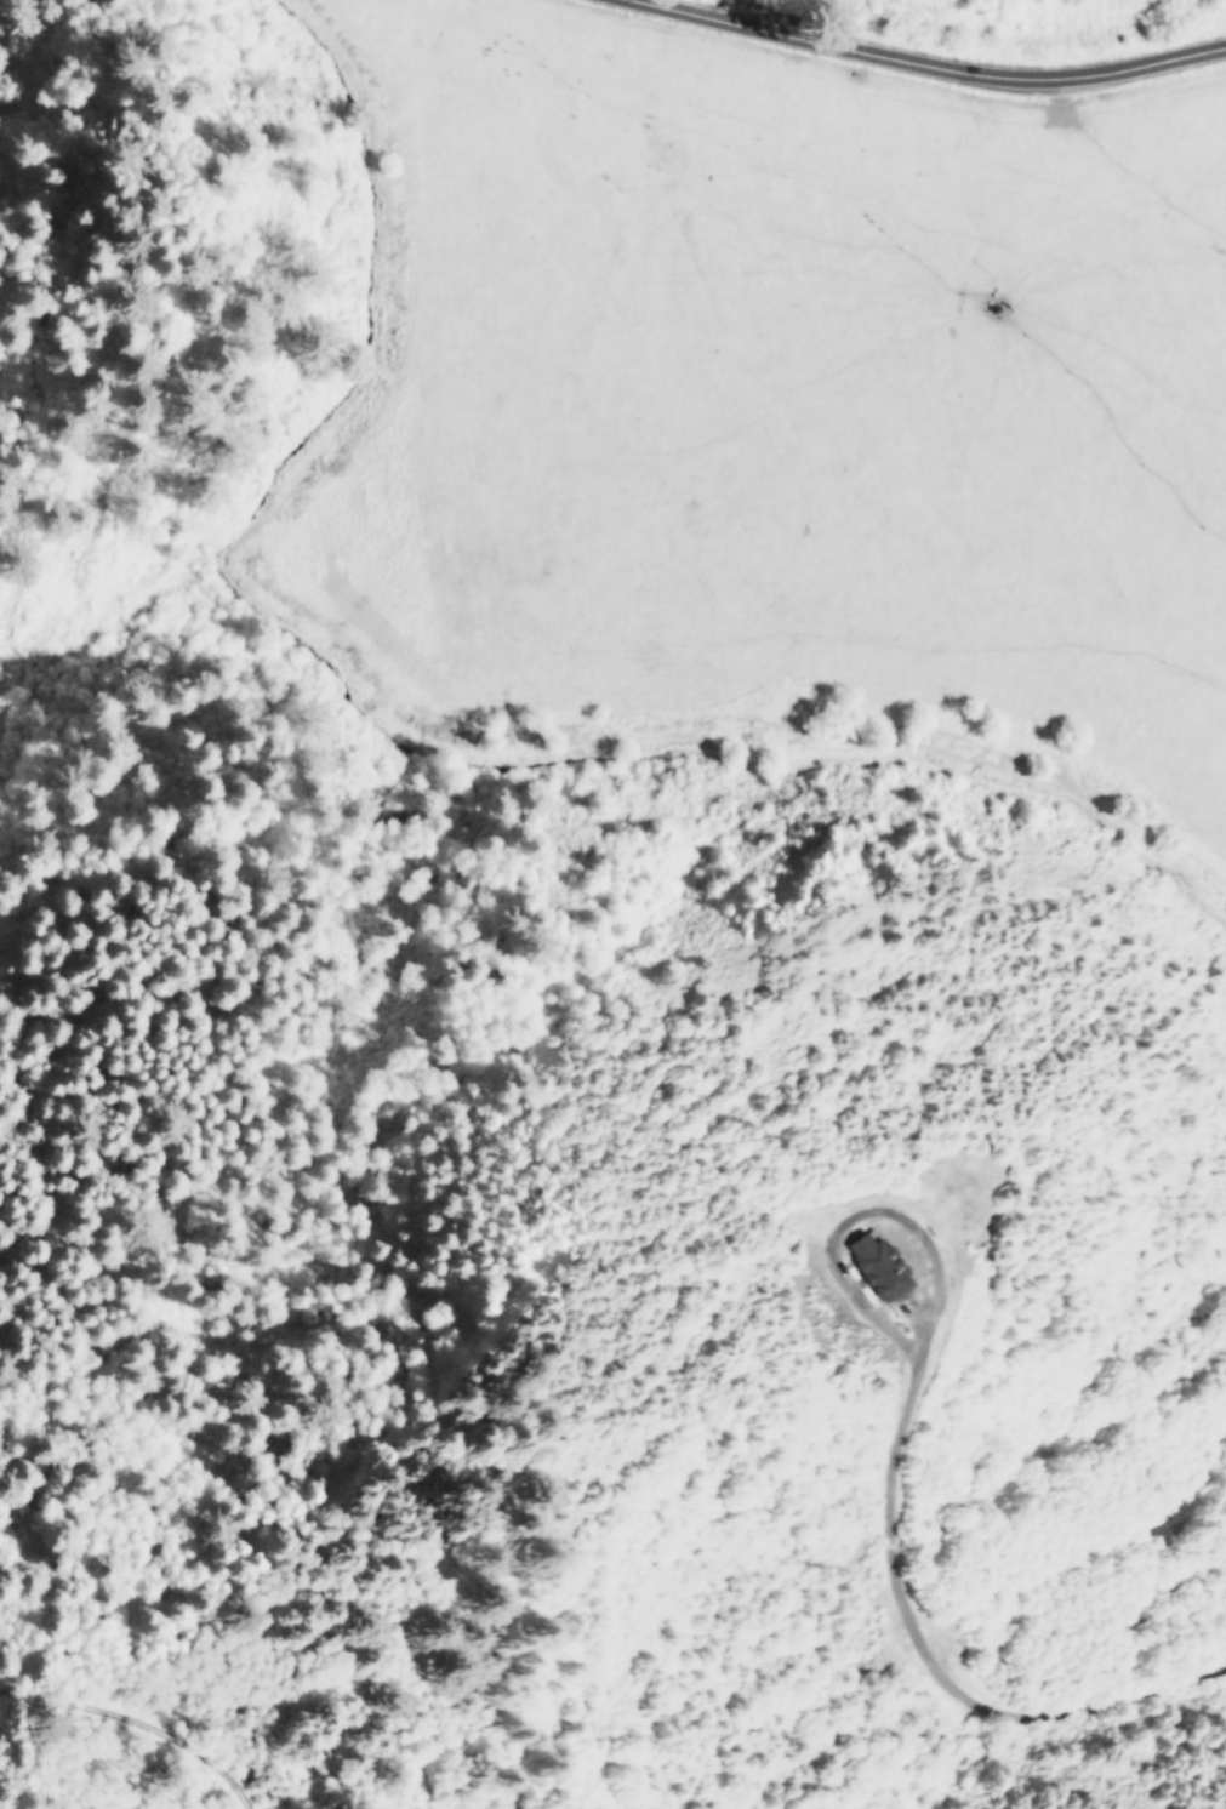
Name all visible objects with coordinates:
road: (933, 61)
crop: (742, 413)
building: (874, 1263)
road: (8, 1365)
road: (136, 1656)

